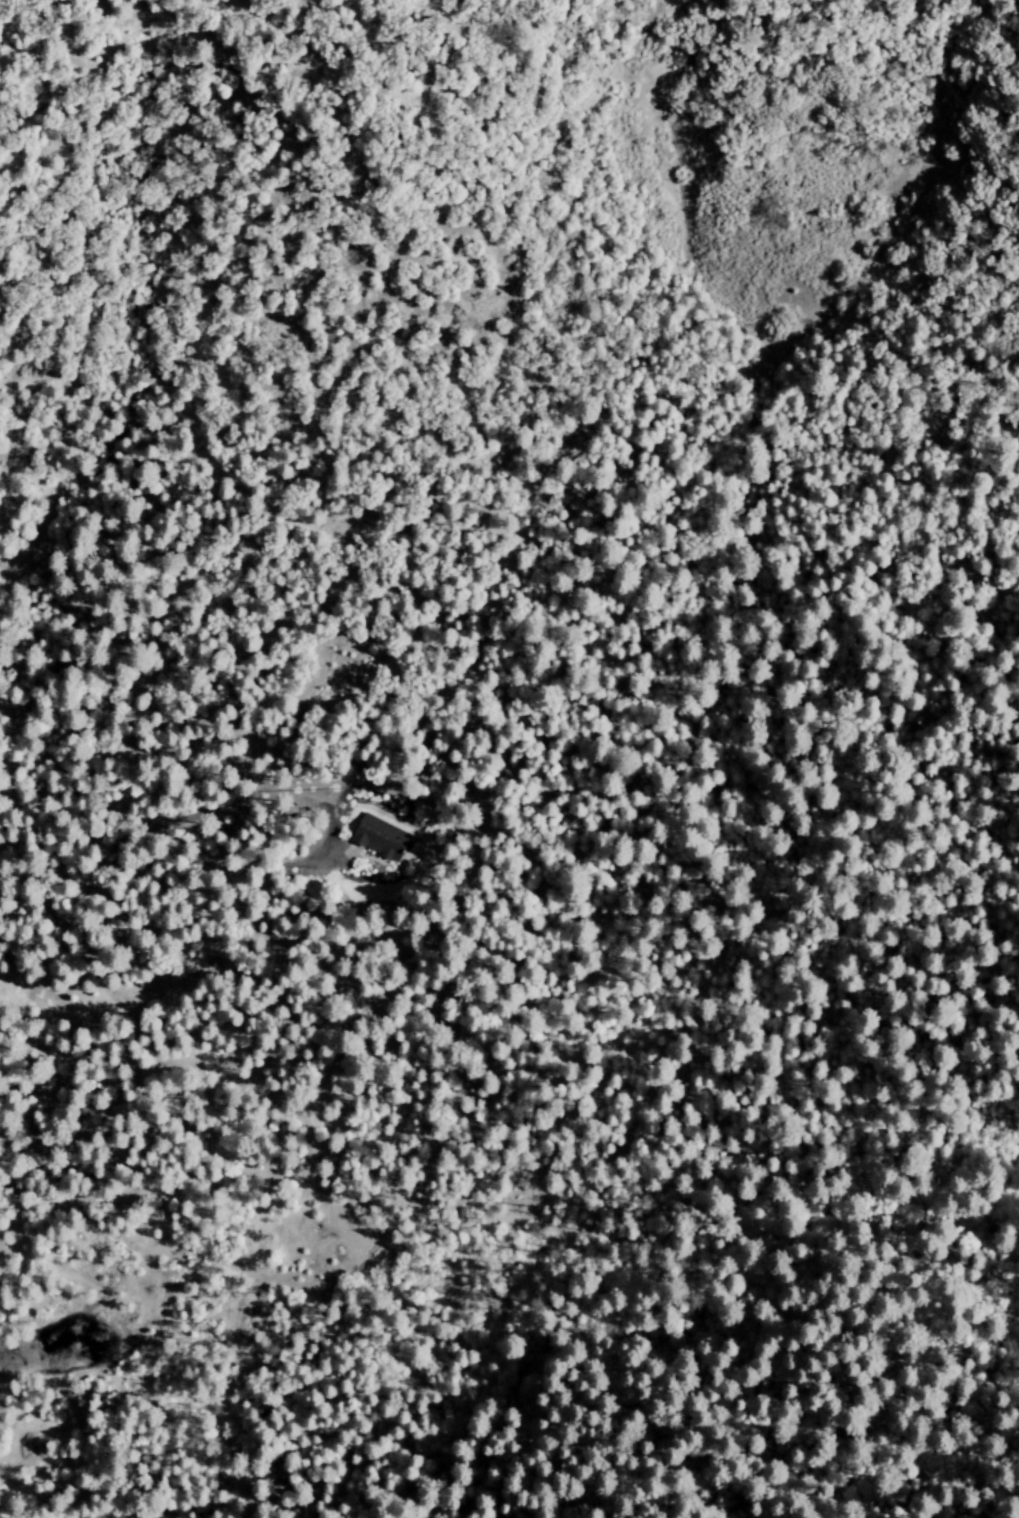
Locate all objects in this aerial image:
road: (325, 818)
building: (376, 836)
road: (30, 913)

